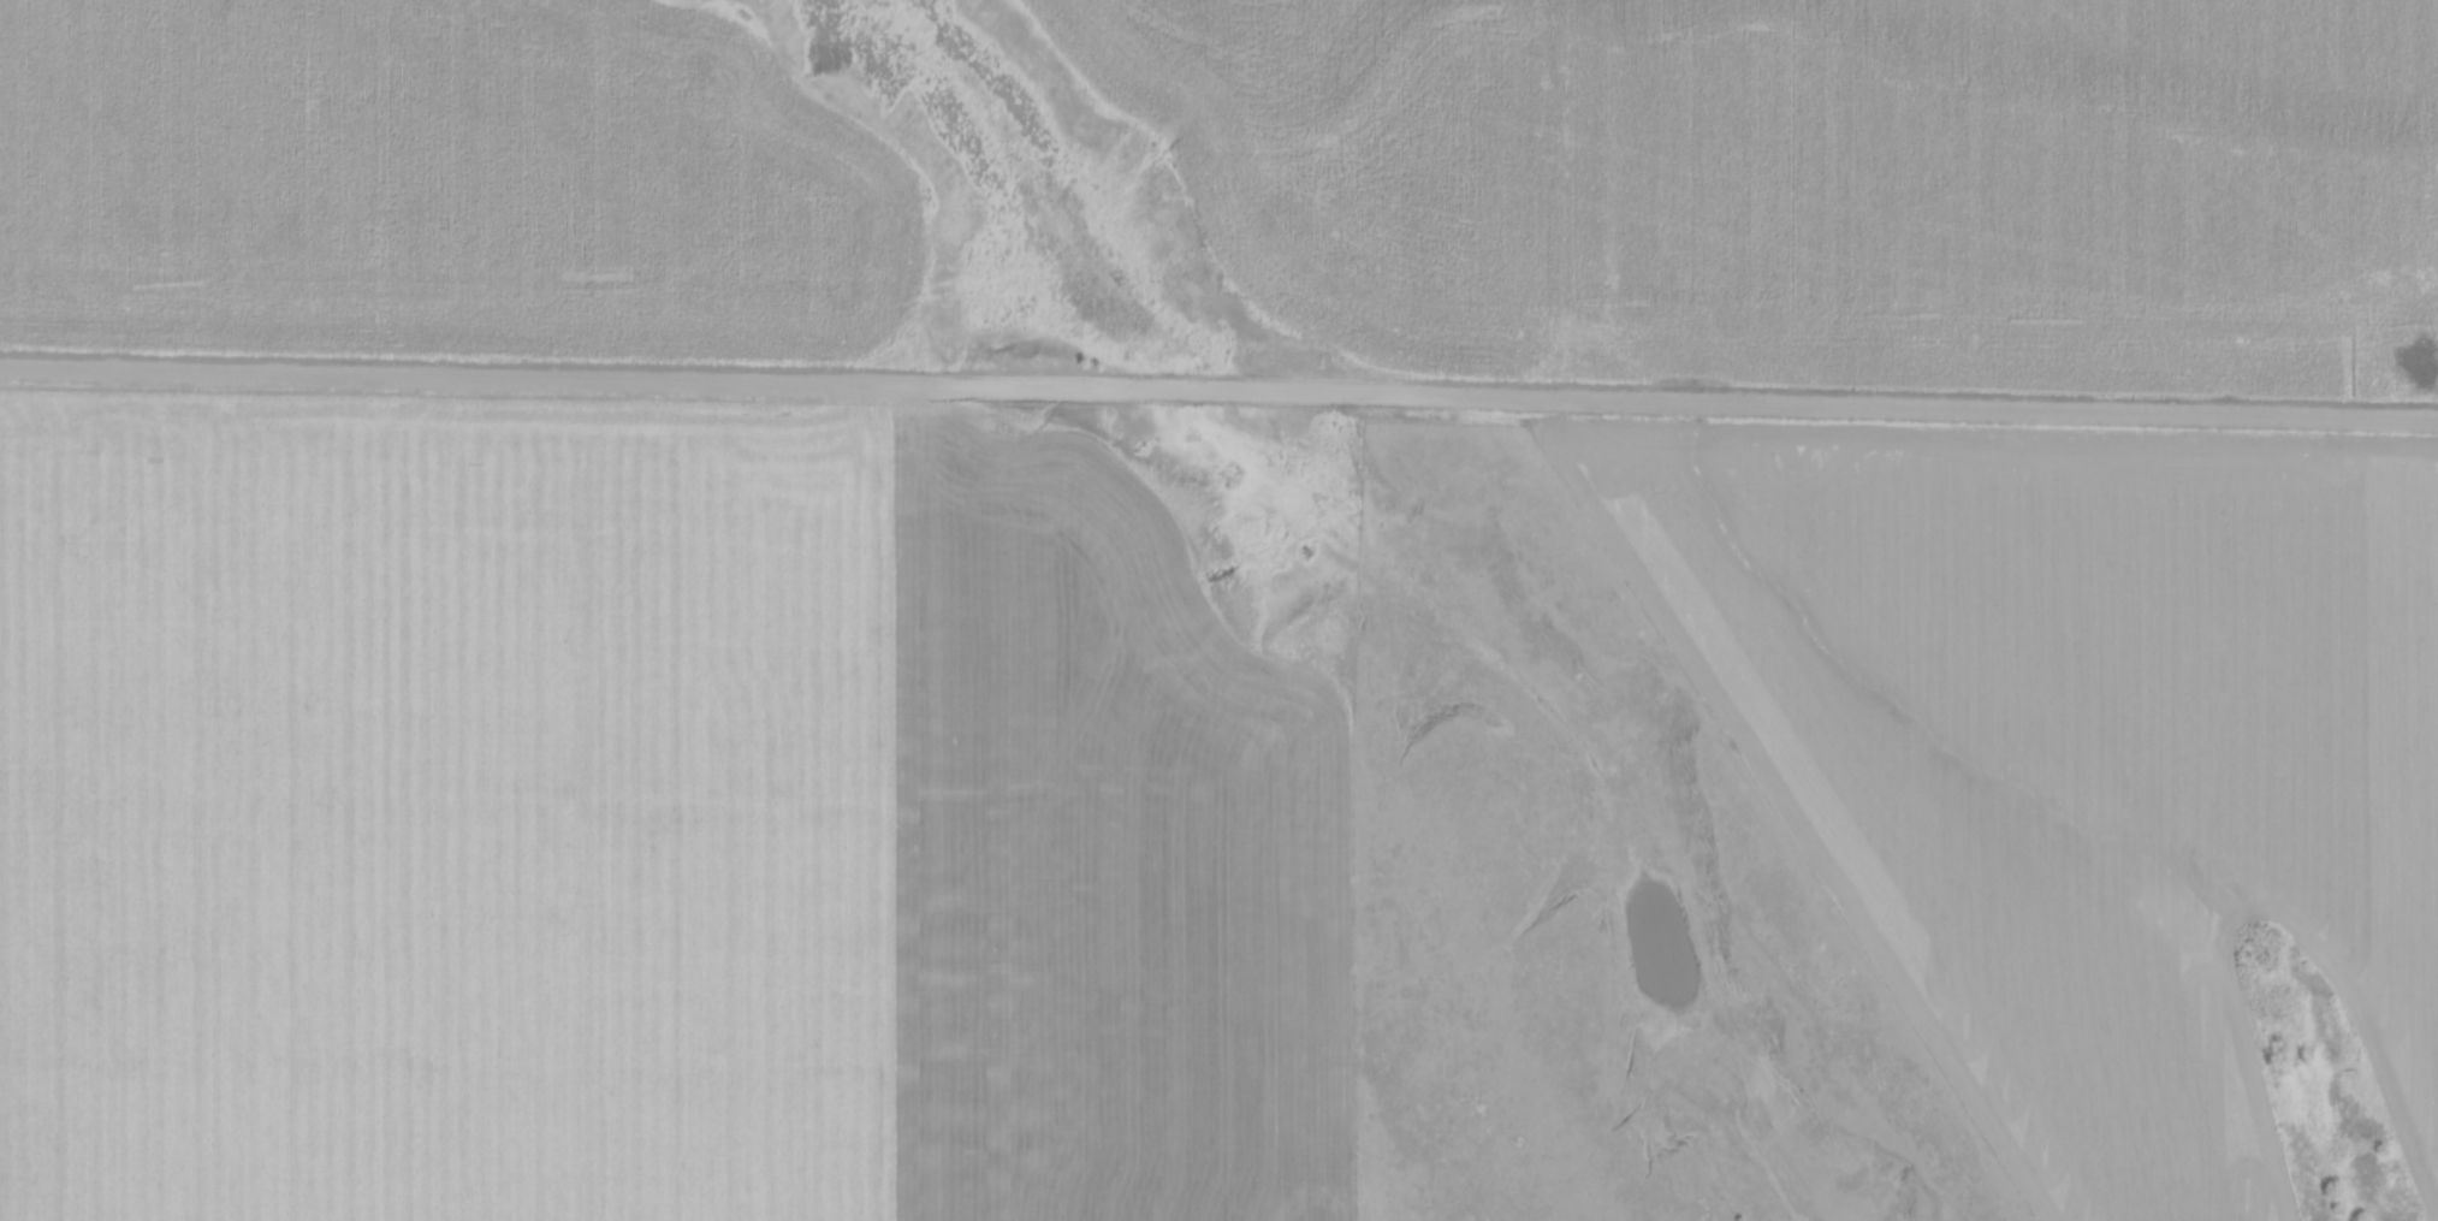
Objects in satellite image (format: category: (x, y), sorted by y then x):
road: (1218, 389)
crop: (2077, 757)
crop: (443, 808)
crop: (1096, 860)

